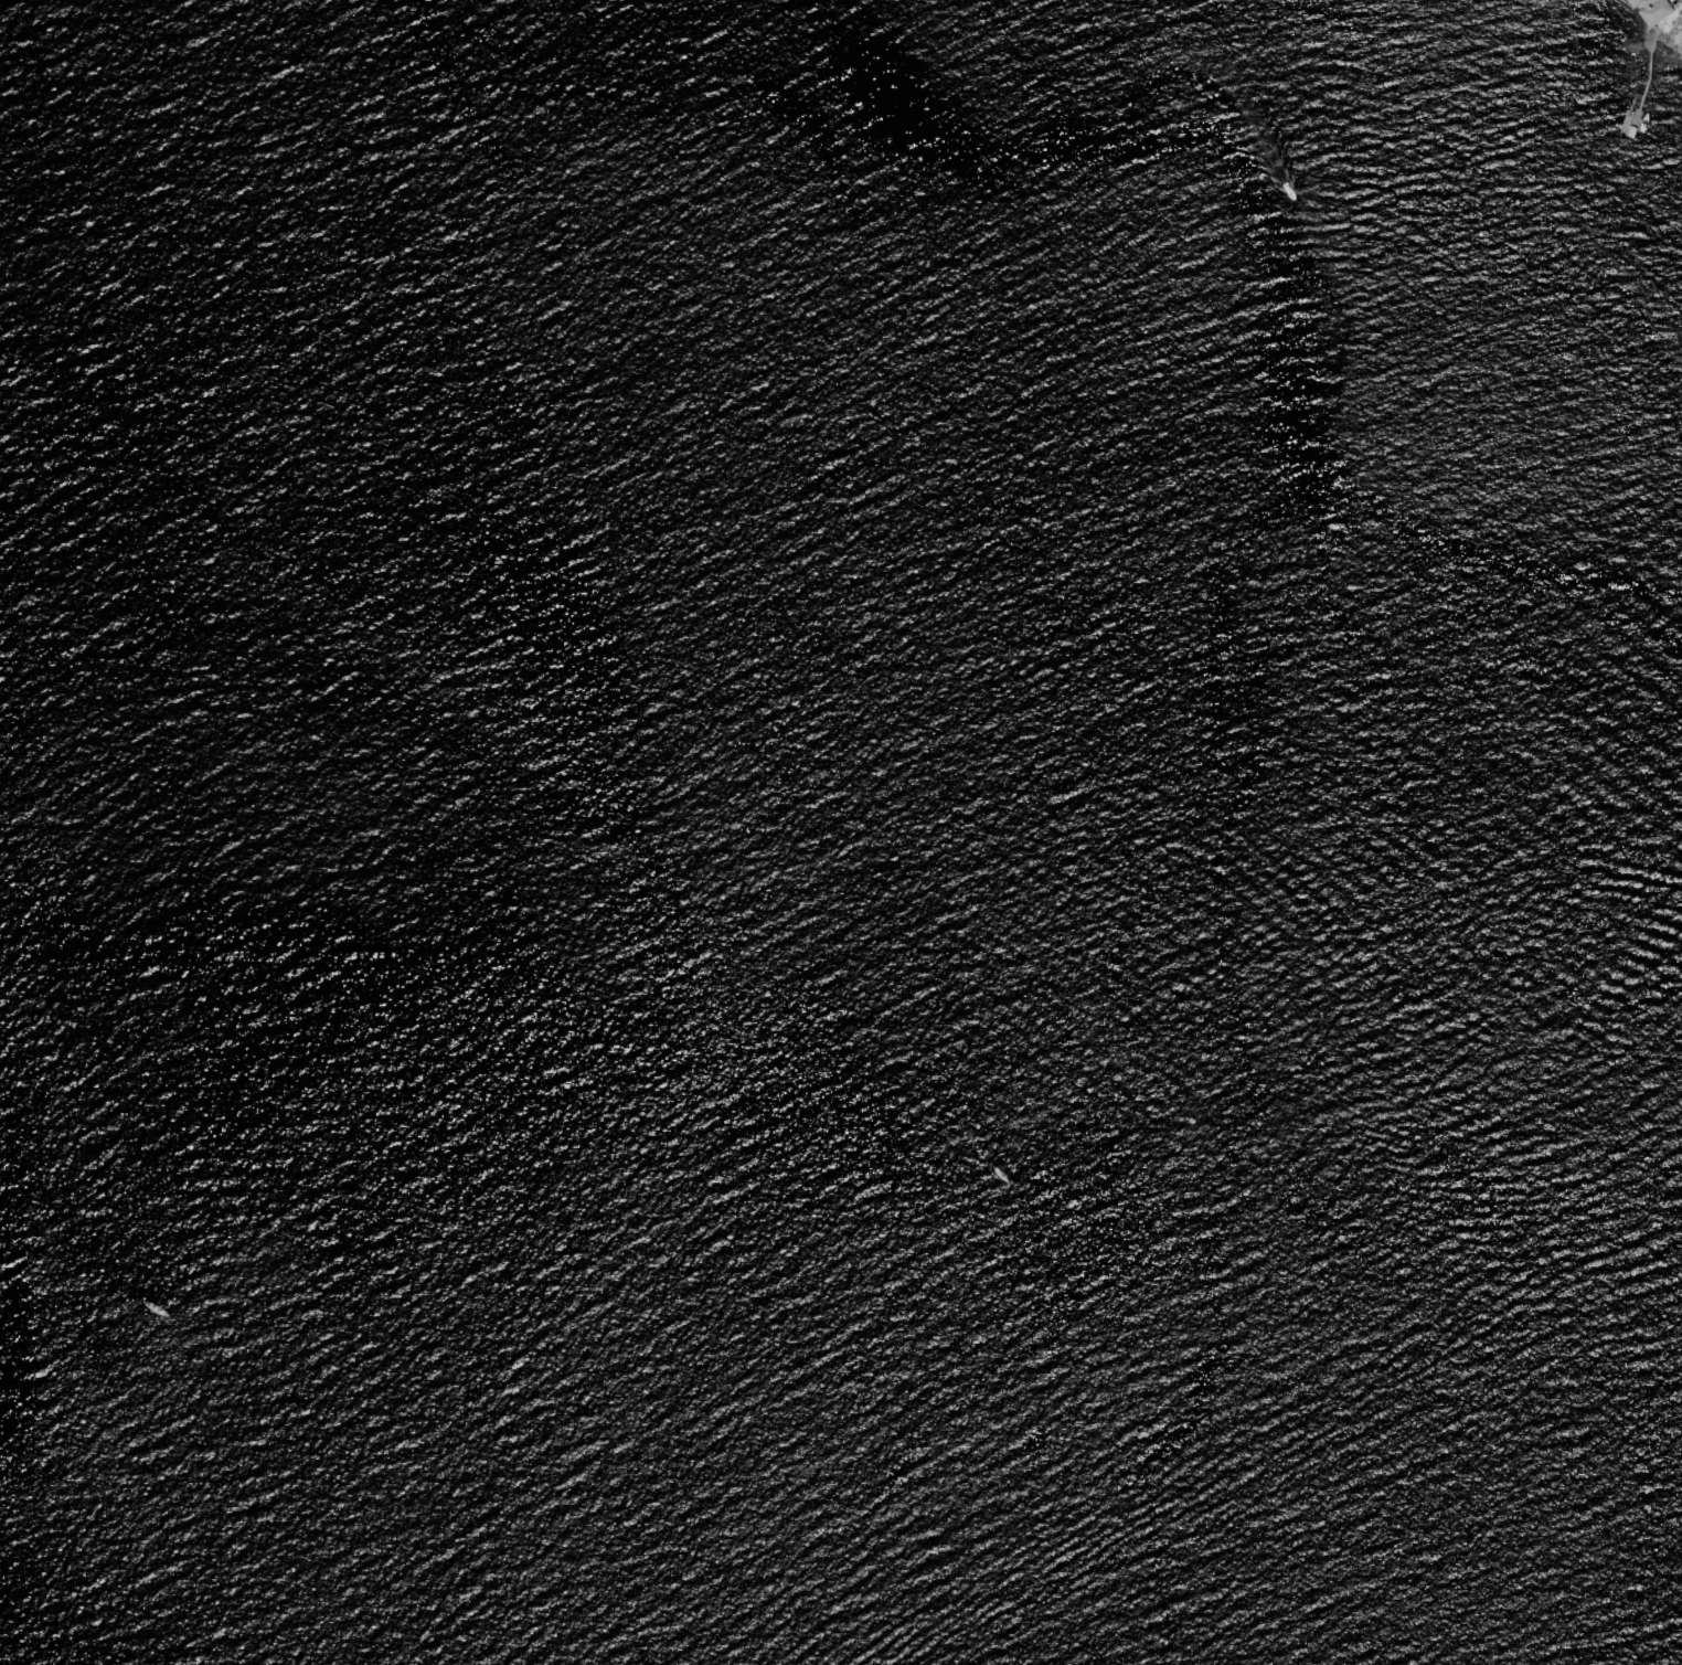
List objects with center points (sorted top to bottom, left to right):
building: (1649, 10)

